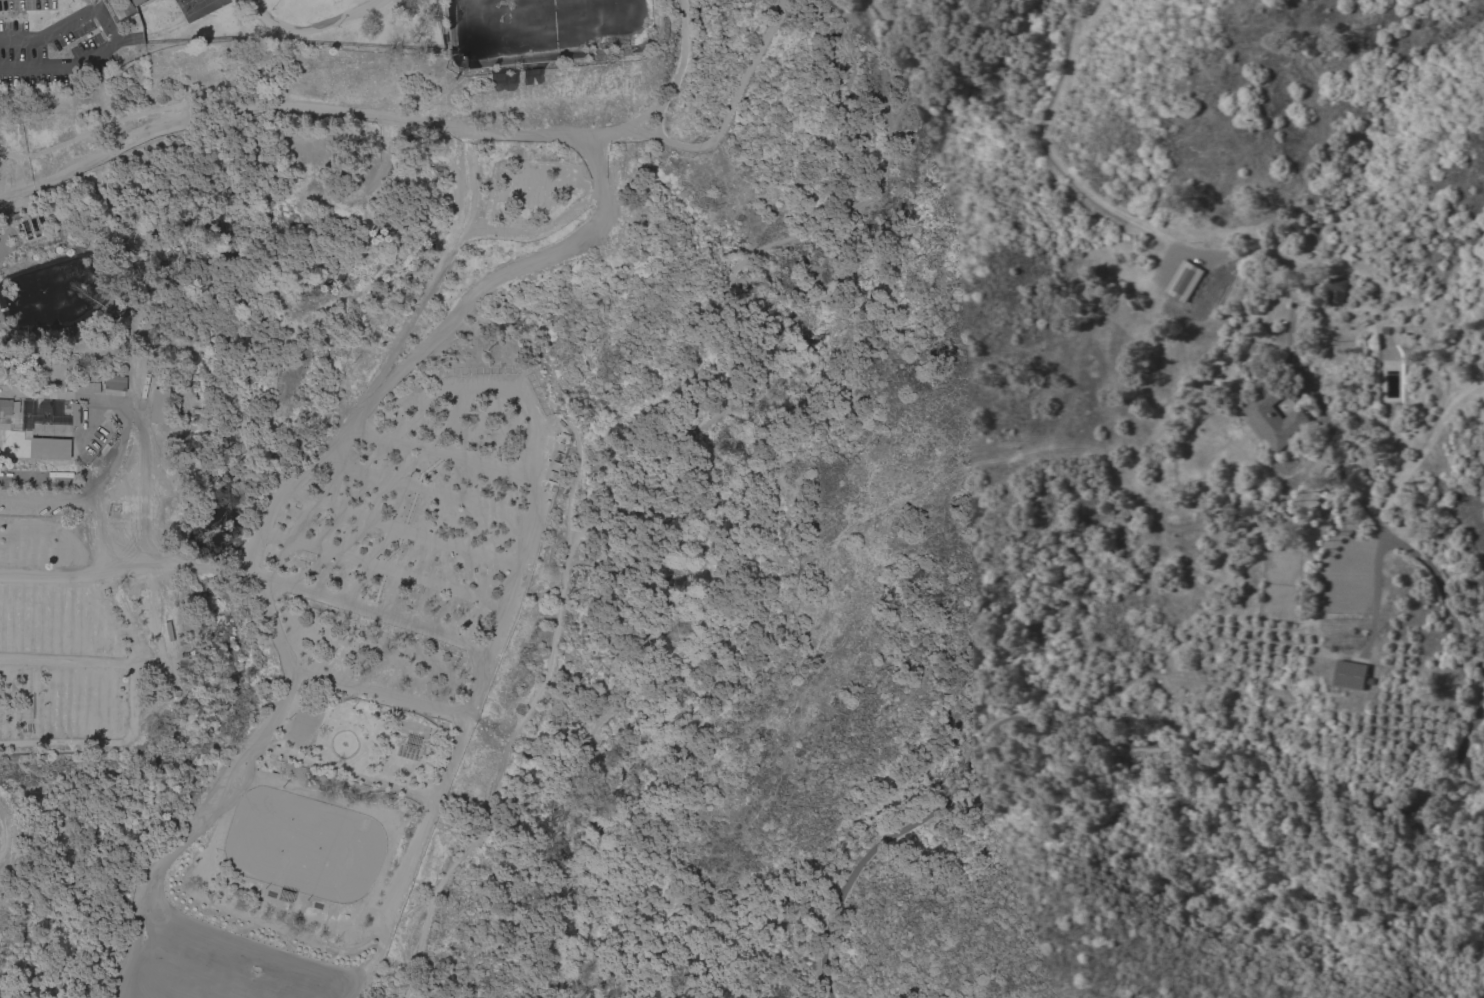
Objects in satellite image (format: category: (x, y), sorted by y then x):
building: (135, 2)
road: (109, 31)
road: (894, 31)
road: (990, 87)
road: (676, 88)
road: (131, 116)
road: (726, 124)
road: (430, 126)
road: (141, 143)
road: (1047, 145)
parking lot: (528, 179)
road: (15, 199)
road: (1342, 263)
road: (505, 273)
building: (1185, 281)
building: (1338, 290)
road: (728, 299)
building: (144, 383)
building: (102, 385)
road: (1309, 386)
road: (1471, 386)
building: (158, 406)
building: (5, 408)
building: (74, 414)
building: (1274, 417)
park: (454, 442)
building: (48, 449)
road: (440, 454)
road: (1420, 455)
road: (253, 563)
road: (1439, 585)
road: (1376, 600)
road: (503, 624)
building: (1352, 675)
road: (528, 708)
road: (1110, 742)
road: (588, 744)
park: (302, 845)

